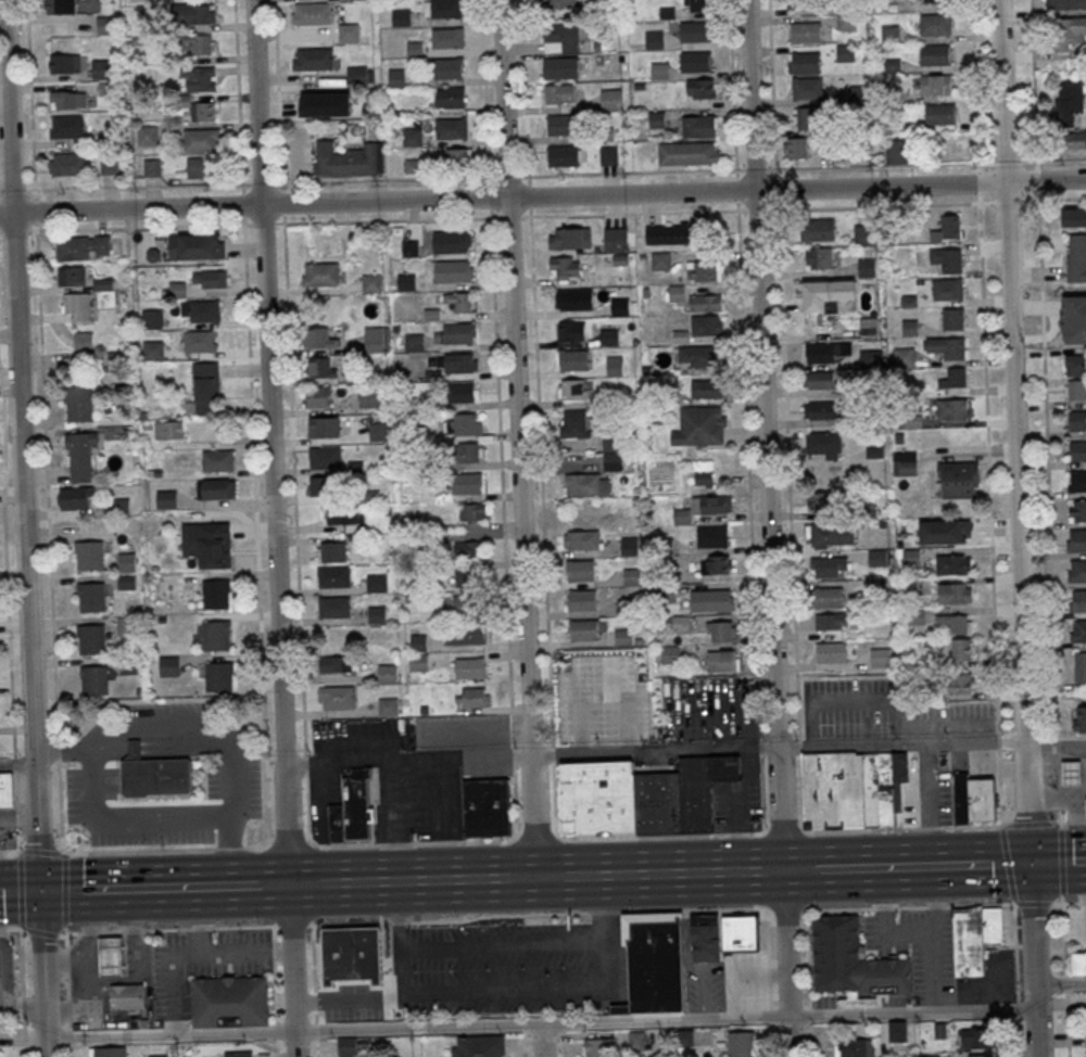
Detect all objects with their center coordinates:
building: (937, 1)
building: (557, 3)
building: (804, 3)
building: (1061, 4)
building: (697, 5)
building: (60, 7)
building: (445, 9)
building: (194, 13)
building: (311, 13)
building: (935, 25)
building: (348, 33)
building: (695, 33)
building: (805, 33)
building: (1069, 33)
building: (561, 37)
building: (447, 39)
building: (654, 39)
building: (199, 43)
building: (845, 52)
building: (935, 55)
building: (312, 59)
building: (696, 62)
building: (65, 63)
building: (806, 63)
building: (103, 68)
building: (561, 68)
building: (449, 69)
building: (659, 71)
building: (357, 74)
building: (199, 79)
building: (936, 86)
road: (732, 87)
building: (700, 88)
building: (807, 89)
road: (523, 91)
road: (237, 92)
building: (560, 94)
building: (859, 94)
building: (68, 99)
building: (451, 99)
building: (610, 99)
building: (303, 101)
building: (1068, 102)
building: (202, 111)
building: (940, 114)
building: (810, 117)
building: (563, 125)
building: (66, 126)
building: (698, 127)
building: (452, 129)
building: (147, 135)
building: (412, 136)
building: (201, 139)
building: (1075, 139)
building: (799, 147)
building: (896, 151)
building: (689, 154)
building: (608, 155)
building: (459, 157)
building: (564, 157)
building: (348, 160)
building: (66, 163)
building: (109, 164)
road: (925, 164)
building: (200, 166)
building: (151, 167)
road: (754, 169)
road: (774, 171)
road: (631, 173)
road: (507, 176)
road: (383, 180)
road: (488, 180)
road: (1046, 181)
road: (260, 183)
road: (244, 184)
road: (281, 187)
road: (774, 187)
road: (241, 188)
road: (735, 189)
road: (34, 190)
road: (13, 191)
road: (528, 195)
road: (489, 196)
road: (503, 199)
road: (281, 203)
road: (923, 203)
road: (242, 204)
road: (34, 209)
road: (753, 209)
road: (633, 213)
road: (509, 216)
building: (1074, 217)
road: (386, 219)
road: (263, 222)
road: (242, 224)
road: (14, 229)
road: (33, 229)
building: (818, 229)
building: (947, 229)
building: (671, 233)
building: (862, 233)
building: (569, 238)
building: (615, 239)
building: (452, 242)
building: (83, 246)
building: (195, 246)
building: (409, 249)
building: (819, 257)
building: (1076, 257)
building: (947, 259)
building: (660, 260)
building: (565, 266)
building: (867, 267)
building: (702, 270)
building: (453, 271)
building: (319, 275)
building: (72, 276)
building: (210, 278)
building: (371, 282)
building: (405, 282)
building: (947, 289)
building: (815, 296)
building: (574, 300)
building: (460, 301)
building: (705, 303)
building: (77, 305)
building: (619, 306)
building: (200, 310)
building: (952, 318)
building: (152, 319)
building: (706, 324)
building: (868, 327)
building: (909, 328)
building: (572, 332)
building: (458, 333)
building: (318, 338)
building: (375, 340)
building: (84, 341)
building: (199, 341)
building: (947, 347)
building: (152, 349)
building: (820, 354)
building: (698, 356)
building: (904, 356)
building: (869, 358)
building: (573, 360)
building: (460, 364)
building: (1075, 365)
building: (614, 366)
road: (984, 366)
building: (321, 367)
road: (1044, 368)
building: (823, 380)
building: (205, 387)
building: (573, 389)
building: (708, 389)
building: (1075, 390)
building: (460, 393)
building: (318, 396)
building: (368, 397)
building: (79, 405)
building: (817, 409)
building: (951, 409)
building: (1077, 420)
building: (464, 423)
building: (573, 423)
building: (324, 426)
building: (700, 426)
building: (168, 430)
building: (379, 431)
road: (517, 437)
building: (611, 443)
road: (21, 445)
building: (824, 445)
building: (1077, 450)
building: (467, 451)
building: (81, 455)
building: (325, 457)
building: (217, 460)
building: (905, 463)
road: (786, 469)
road: (746, 470)
road: (541, 476)
road: (501, 477)
road: (46, 479)
building: (958, 480)
building: (1077, 480)
building: (586, 483)
road: (293, 484)
building: (467, 484)
building: (321, 485)
building: (216, 488)
building: (75, 496)
building: (165, 498)
building: (819, 501)
building: (712, 505)
building: (119, 506)
building: (1077, 510)
building: (472, 511)
building: (340, 514)
road: (274, 527)
road: (767, 527)
road: (1018, 528)
building: (945, 532)
building: (833, 534)
building: (711, 536)
building: (1076, 540)
building: (582, 542)
road: (256, 545)
building: (629, 545)
building: (469, 549)
building: (331, 551)
building: (213, 553)
building: (90, 556)
building: (877, 557)
building: (911, 557)
building: (715, 564)
building: (954, 564)
building: (829, 566)
building: (580, 571)
building: (1077, 571)
building: (333, 576)
building: (464, 576)
building: (377, 584)
building: (955, 593)
building: (217, 594)
building: (92, 597)
building: (829, 598)
building: (711, 599)
building: (1077, 600)
building: (581, 601)
building: (469, 606)
building: (333, 607)
road: (7, 615)
building: (377, 615)
building: (831, 621)
building: (680, 623)
building: (955, 623)
building: (721, 631)
building: (583, 632)
building: (1078, 632)
building: (464, 634)
building: (216, 636)
building: (623, 637)
building: (92, 640)
building: (418, 642)
building: (961, 648)
building: (832, 653)
building: (670, 654)
building: (881, 658)
building: (723, 660)
building: (418, 661)
building: (336, 663)
building: (169, 665)
building: (1079, 666)
building: (470, 667)
road: (602, 671)
building: (388, 674)
building: (219, 677)
building: (96, 682)
building: (960, 683)
building: (338, 697)
building: (472, 697)
road: (854, 701)
building: (388, 706)
building: (1079, 718)
road: (898, 721)
road: (810, 723)
road: (942, 723)
road: (195, 726)
parking lot: (459, 727)
parking lot: (358, 729)
road: (984, 730)
road: (377, 739)
road: (997, 739)
road: (1057, 743)
road: (758, 746)
road: (798, 746)
road: (56, 748)
road: (684, 749)
road: (63, 750)
road: (552, 753)
road: (512, 754)
road: (305, 761)
road: (438, 772)
building: (1071, 772)
building: (152, 774)
parking lot: (381, 784)
parking lot: (329, 786)
road: (998, 786)
road: (1059, 788)
building: (7, 789)
building: (851, 790)
road: (554, 797)
building: (641, 797)
parking lot: (427, 801)
building: (981, 801)
road: (60, 806)
building: (487, 806)
building: (353, 808)
road: (131, 816)
road: (1068, 820)
road: (1027, 823)
road: (977, 825)
road: (927, 827)
road: (515, 830)
road: (813, 830)
parking lot: (383, 831)
road: (785, 831)
road: (696, 833)
road: (557, 836)
road: (512, 837)
road: (534, 838)
road: (311, 839)
road: (311, 840)
road: (442, 841)
road: (266, 842)
road: (419, 842)
road: (289, 843)
road: (394, 843)
road: (18, 848)
road: (229, 849)
road: (230, 850)
road: (9, 851)
road: (40, 851)
road: (138, 851)
road: (1059, 861)
traffic signals: (1031, 863)
road: (1058, 863)
road: (1007, 864)
road: (917, 866)
road: (792, 870)
road: (534, 876)
road: (277, 884)
road: (197, 888)
road: (18, 890)
road: (63, 890)
road: (84, 890)
road: (20, 891)
traffic signals: (40, 891)
road: (1069, 902)
road: (1032, 903)
road: (976, 904)
road: (908, 906)
road: (933, 906)
road: (882, 907)
road: (883, 908)
road: (837, 909)
road: (784, 912)
road: (583, 913)
road: (766, 914)
parking lot: (911, 921)
road: (201, 922)
road: (291, 925)
road: (242, 926)
road: (201, 927)
road: (10, 929)
road: (165, 929)
road: (40, 930)
road: (65, 930)
road: (110, 931)
road: (129, 931)
parking lot: (873, 931)
road: (70, 932)
road: (91, 932)
road: (605, 932)
road: (908, 932)
building: (741, 933)
road: (1062, 934)
road: (397, 937)
building: (974, 937)
building: (705, 938)
road: (934, 940)
road: (502, 947)
road: (1014, 952)
building: (352, 953)
building: (112, 954)
road: (132, 955)
road: (232, 955)
road: (806, 958)
parking lot: (933, 959)
building: (654, 960)
building: (853, 960)
road: (65, 962)
building: (1078, 962)
parking lot: (202, 966)
building: (0, 968)
road: (89, 968)
parking lot: (509, 968)
road: (42, 973)
road: (721, 975)
parking lot: (995, 979)
gas station: (110, 980)
road: (990, 981)
road: (1064, 982)
gas station: (9, 983)
parking lot: (744, 983)
road: (1060, 983)
road: (501, 989)
road: (275, 991)
road: (314, 991)
road: (23, 992)
road: (70, 994)
building: (128, 995)
road: (176, 995)
building: (229, 1001)
road: (334, 1002)
road: (1016, 1009)
road: (770, 1016)
road: (808, 1016)
road: (1066, 1023)
road: (540, 1026)
building: (897, 1030)
building: (684, 1036)
building: (972, 1037)
road: (1018, 1037)
road: (771, 1040)
road: (523, 1041)
road: (541, 1041)
road: (564, 1041)
building: (636, 1041)
road: (808, 1041)
building: (741, 1044)
building: (478, 1046)
building: (598, 1047)
building: (854, 1047)
building: (108, 1052)
building: (157, 1056)
building: (978, 1056)

